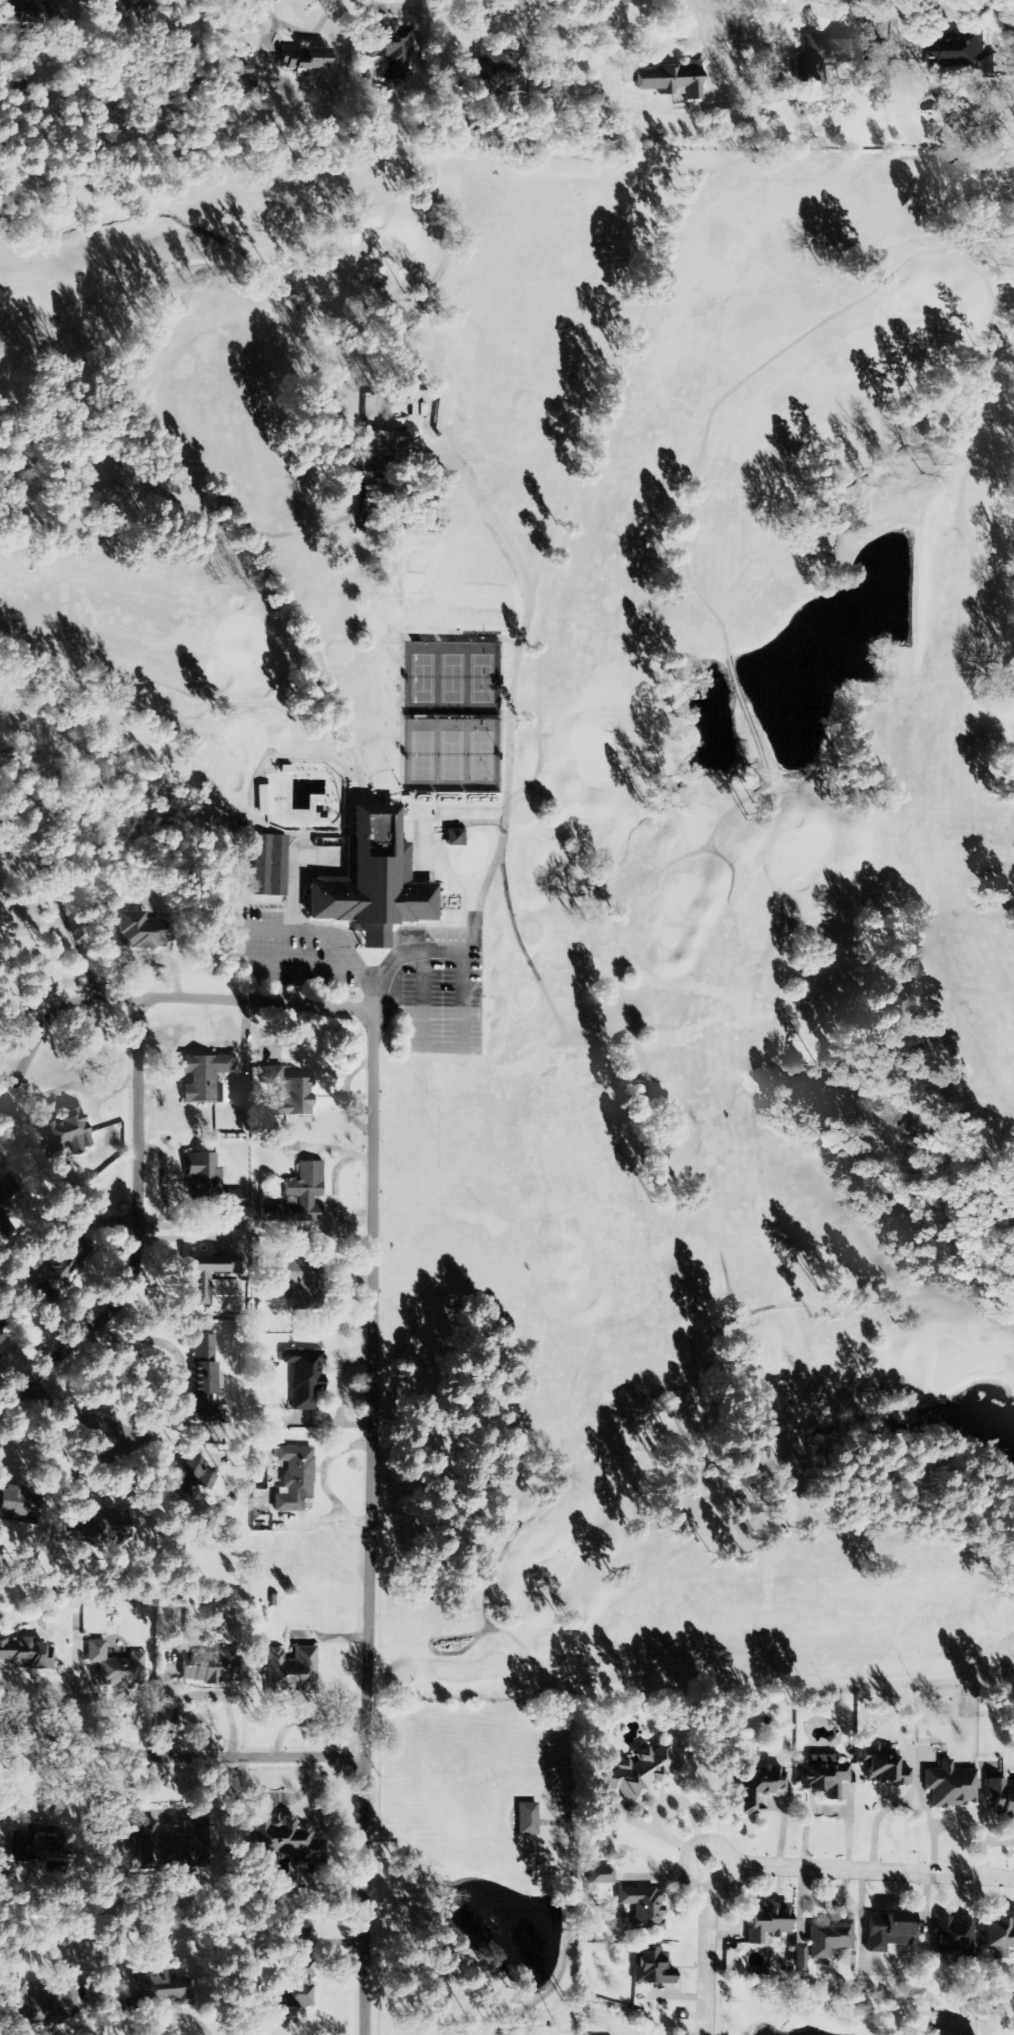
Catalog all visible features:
building: (21, 13)
building: (389, 50)
building: (961, 53)
building: (823, 55)
building: (303, 59)
building: (467, 81)
building: (669, 81)
building: (383, 444)
park: (450, 714)
building: (264, 800)
park: (580, 820)
building: (453, 837)
building: (271, 866)
building: (371, 882)
building: (143, 931)
parking lot: (329, 948)
road: (366, 993)
road: (157, 997)
building: (204, 1078)
building: (294, 1098)
building: (68, 1134)
building: (207, 1178)
building: (1, 1197)
building: (298, 1197)
building: (1, 1221)
road: (133, 1226)
building: (298, 1278)
building: (209, 1285)
building: (302, 1377)
building: (202, 1378)
road: (169, 1422)
building: (186, 1471)
building: (294, 1478)
building: (10, 1505)
road: (363, 1522)
building: (26, 1653)
building: (115, 1667)
building: (295, 1669)
road: (180, 1757)
building: (883, 1768)
building: (640, 1772)
building: (823, 1775)
building: (756, 1786)
building: (949, 1786)
building: (1000, 1800)
building: (526, 1819)
building: (282, 1842)
building: (166, 1847)
road: (772, 1866)
building: (599, 1875)
building: (642, 1909)
building: (766, 1922)
building: (886, 1930)
building: (998, 1932)
building: (954, 1937)
building: (829, 1939)
building: (797, 1959)
building: (651, 1967)
building: (165, 1986)
building: (286, 1995)
building: (44, 2002)

